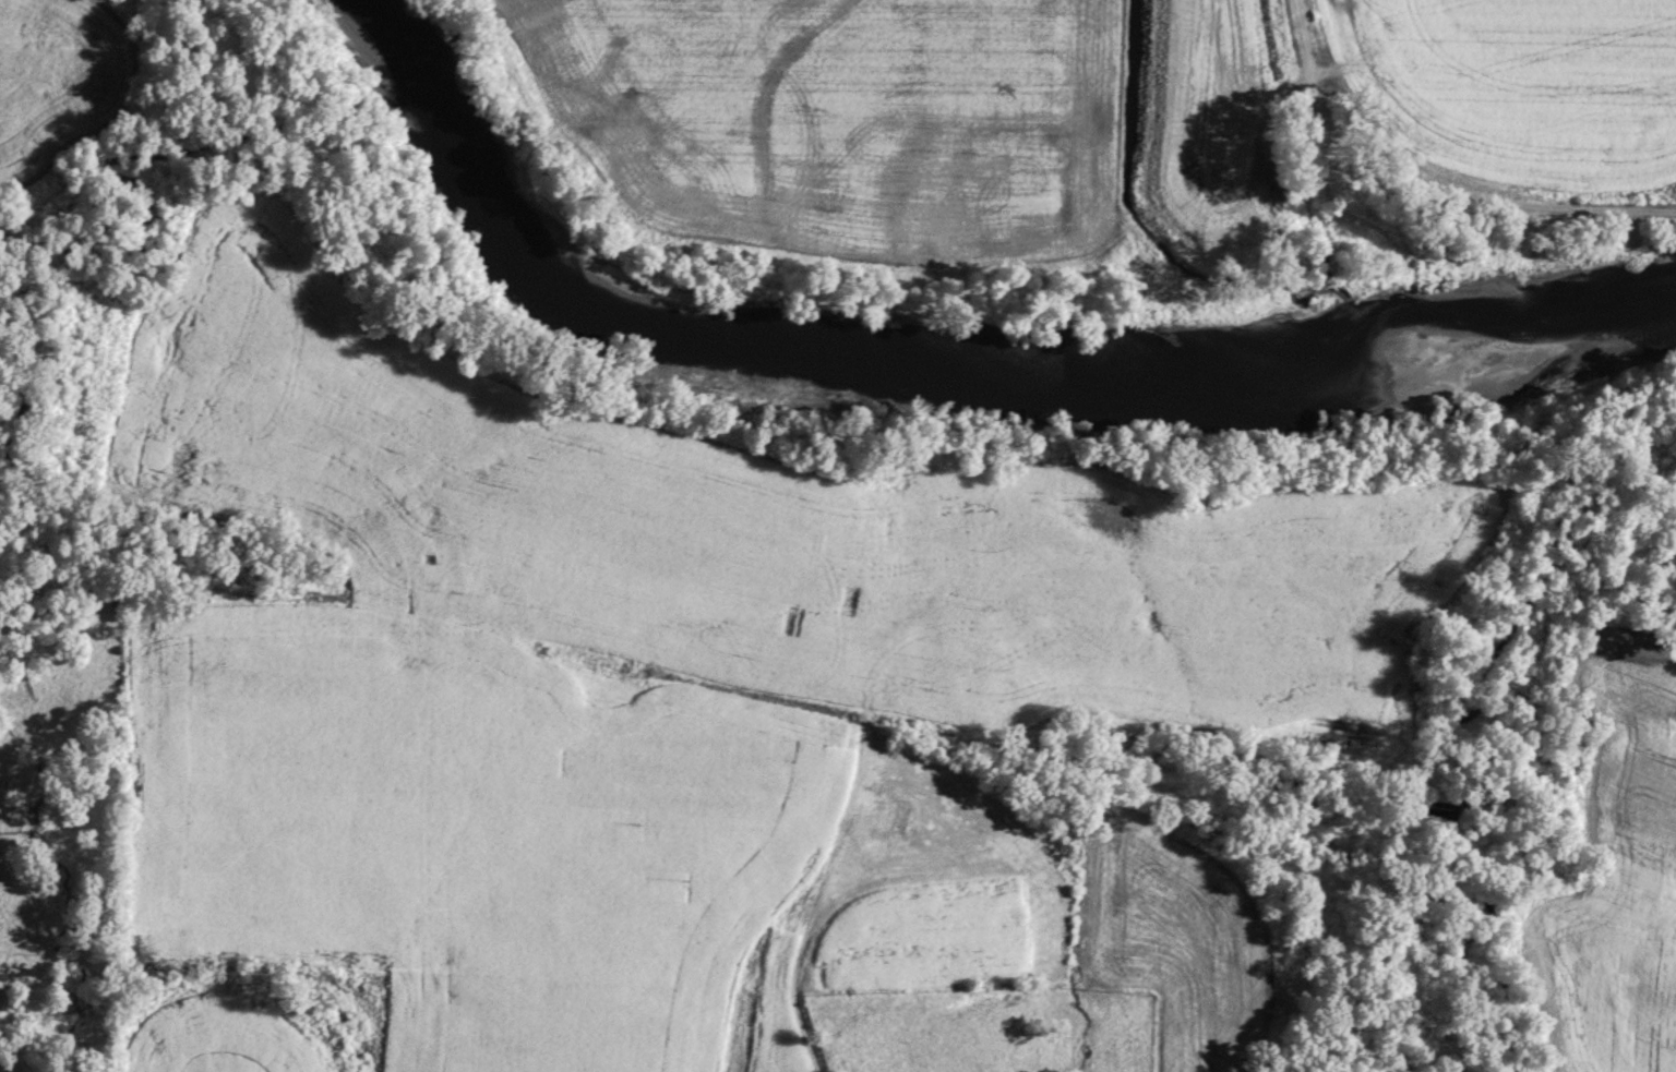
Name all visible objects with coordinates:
river: (931, 359)
road: (860, 585)
road: (834, 855)

